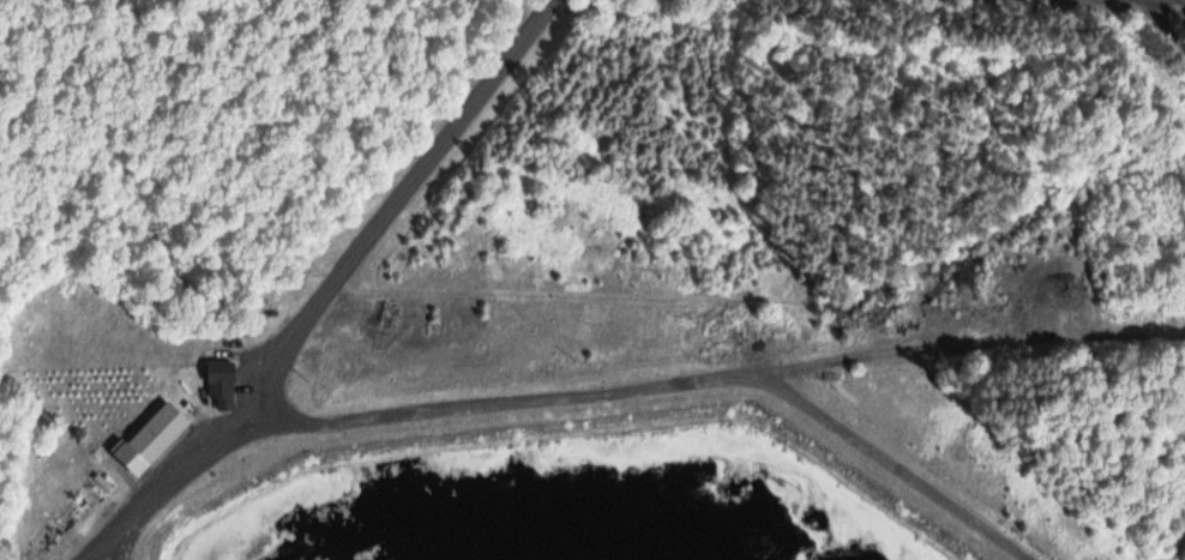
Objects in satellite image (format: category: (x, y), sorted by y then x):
road: (1172, 17)
road: (331, 289)
road: (975, 342)
building: (219, 381)
road: (663, 385)
building: (150, 436)
road: (126, 542)

